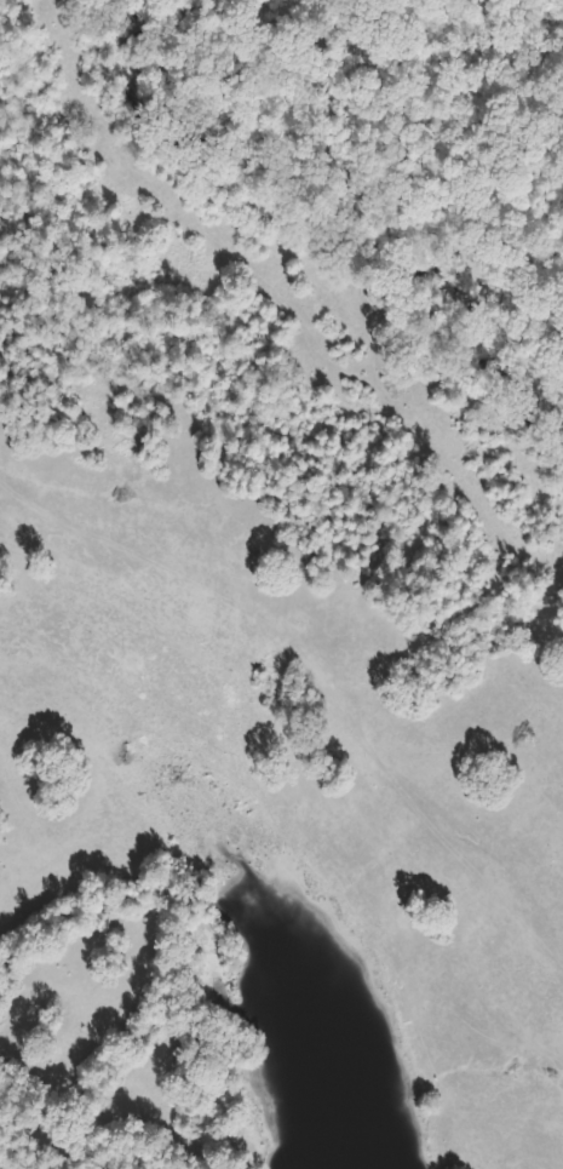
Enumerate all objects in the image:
road: (288, 699)

